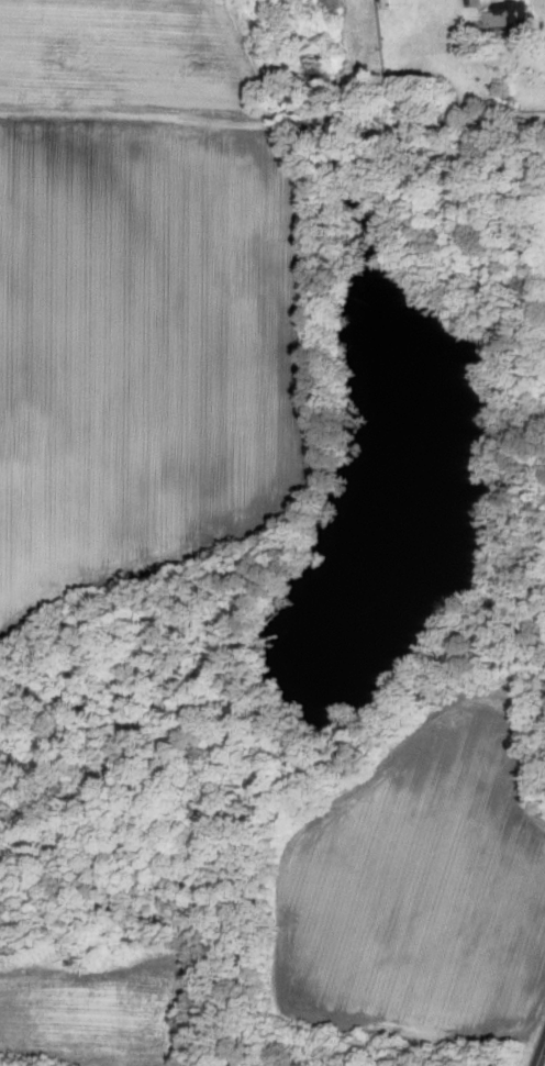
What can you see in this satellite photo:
building: (509, 14)
road: (542, 1056)

